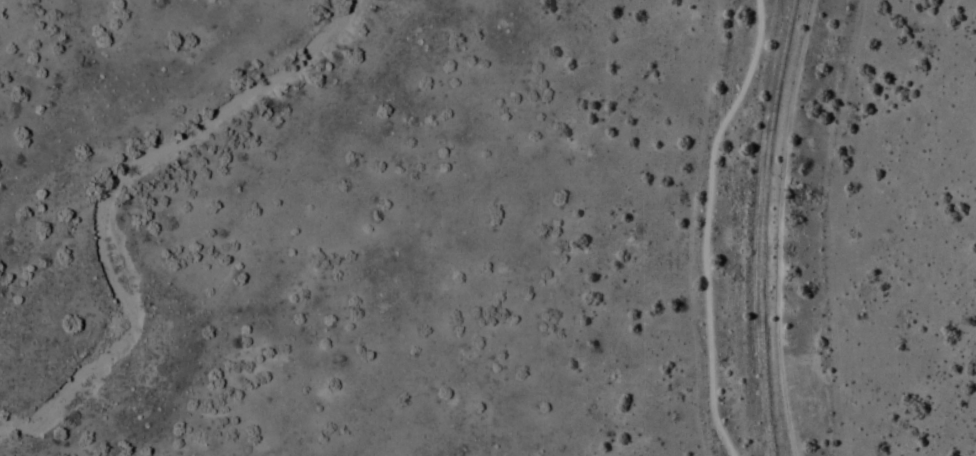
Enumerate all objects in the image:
road: (709, 225)
railway: (760, 227)

